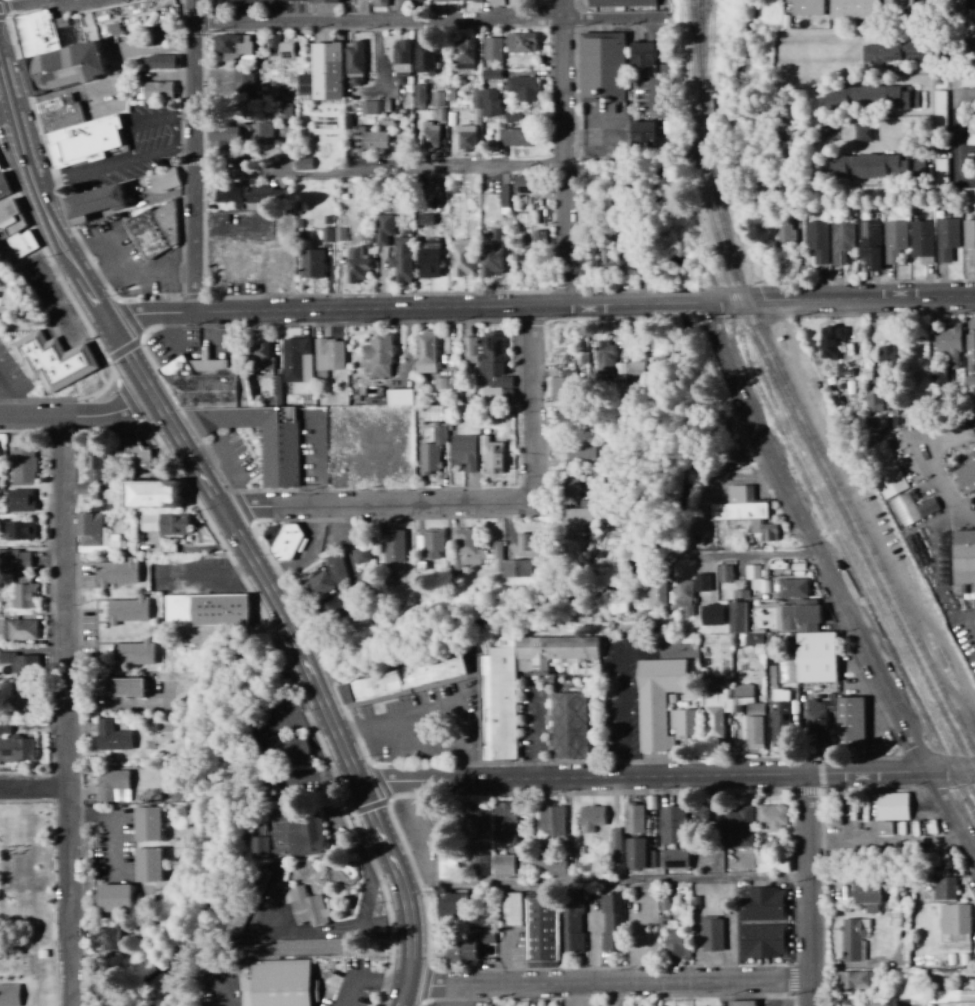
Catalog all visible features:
building: (445, 0)
building: (974, 0)
building: (322, 1)
building: (412, 1)
building: (471, 1)
building: (534, 2)
building: (495, 3)
building: (515, 3)
building: (619, 3)
building: (897, 4)
road: (24, 5)
building: (941, 5)
building: (806, 7)
building: (853, 9)
road: (430, 22)
building: (520, 43)
building: (232, 47)
building: (278, 49)
building: (492, 49)
railway: (701, 50)
railway: (694, 51)
building: (880, 53)
building: (54, 54)
building: (464, 54)
building: (641, 55)
building: (424, 57)
building: (163, 62)
building: (401, 62)
building: (601, 65)
building: (325, 71)
building: (489, 74)
building: (967, 81)
building: (242, 85)
building: (522, 88)
building: (153, 90)
building: (418, 96)
building: (870, 98)
building: (437, 99)
building: (484, 102)
building: (371, 108)
building: (284, 111)
railway: (703, 112)
road: (6, 114)
building: (512, 114)
road: (145, 120)
building: (76, 131)
road: (172, 132)
building: (227, 133)
building: (262, 133)
building: (642, 134)
building: (429, 135)
building: (515, 137)
building: (465, 138)
road: (565, 153)
road: (202, 157)
road: (118, 162)
building: (302, 163)
building: (917, 165)
building: (868, 166)
road: (383, 168)
road: (33, 178)
building: (162, 180)
railway: (703, 180)
building: (522, 185)
building: (250, 196)
building: (503, 199)
building: (91, 203)
building: (10, 218)
building: (383, 229)
building: (783, 231)
building: (153, 232)
building: (333, 234)
building: (969, 237)
building: (946, 238)
building: (816, 241)
building: (894, 241)
building: (921, 241)
building: (840, 242)
building: (21, 243)
building: (870, 245)
building: (533, 252)
building: (491, 253)
building: (461, 258)
building: (609, 258)
building: (428, 259)
building: (401, 260)
building: (310, 263)
building: (356, 265)
road: (93, 299)
road: (539, 306)
building: (829, 340)
building: (948, 345)
building: (970, 351)
building: (425, 353)
building: (261, 356)
building: (328, 356)
building: (378, 357)
building: (603, 357)
building: (885, 357)
building: (295, 360)
building: (52, 361)
building: (487, 365)
building: (561, 386)
building: (398, 397)
road: (534, 403)
building: (876, 408)
building: (235, 415)
road: (77, 417)
building: (569, 417)
railway: (818, 449)
building: (578, 451)
building: (135, 452)
building: (430, 453)
building: (463, 454)
building: (490, 456)
building: (22, 466)
building: (96, 469)
building: (888, 470)
building: (966, 477)
building: (572, 488)
building: (151, 495)
road: (376, 506)
building: (745, 512)
railway: (840, 512)
building: (576, 518)
building: (173, 524)
building: (18, 531)
building: (92, 534)
railway: (831, 536)
building: (286, 543)
building: (431, 543)
building: (530, 544)
building: (393, 546)
building: (361, 555)
building: (488, 556)
road: (757, 557)
building: (963, 557)
building: (14, 560)
building: (116, 573)
building: (725, 574)
building: (752, 576)
road: (211, 578)
building: (325, 578)
road: (836, 581)
building: (701, 583)
railway: (865, 585)
building: (792, 588)
building: (22, 597)
building: (655, 597)
building: (683, 598)
building: (205, 609)
building: (126, 611)
building: (711, 615)
building: (741, 625)
building: (18, 630)
road: (301, 648)
building: (552, 651)
building: (131, 654)
building: (815, 658)
building: (20, 663)
building: (784, 671)
building: (402, 681)
building: (118, 689)
building: (656, 701)
building: (498, 703)
road: (68, 712)
building: (779, 718)
building: (851, 722)
building: (815, 723)
building: (682, 724)
building: (568, 726)
building: (712, 726)
building: (4, 730)
building: (111, 737)
building: (16, 750)
building: (288, 751)
road: (666, 777)
building: (112, 786)
road: (35, 789)
building: (891, 806)
building: (700, 813)
building: (771, 816)
building: (633, 817)
building: (590, 819)
building: (551, 820)
building: (504, 822)
building: (146, 824)
building: (672, 824)
building: (738, 826)
building: (259, 828)
building: (297, 833)
building: (614, 842)
building: (259, 847)
building: (637, 853)
building: (479, 858)
building: (674, 858)
building: (771, 863)
building: (147, 864)
building: (446, 864)
building: (501, 864)
building: (548, 864)
road: (366, 883)
road: (606, 887)
building: (944, 887)
road: (812, 892)
building: (113, 896)
building: (866, 896)
building: (763, 903)
building: (448, 905)
building: (307, 909)
building: (510, 909)
building: (238, 915)
building: (610, 920)
building: (955, 921)
building: (572, 923)
building: (541, 931)
road: (314, 933)
building: (711, 933)
building: (105, 938)
building: (853, 939)
building: (672, 940)
building: (763, 940)
building: (467, 947)
building: (854, 982)
building: (282, 984)
road: (609, 987)
building: (101, 993)
building: (9, 995)
building: (740, 1003)
parking lot: (460, 1004)
building: (878, 1004)

